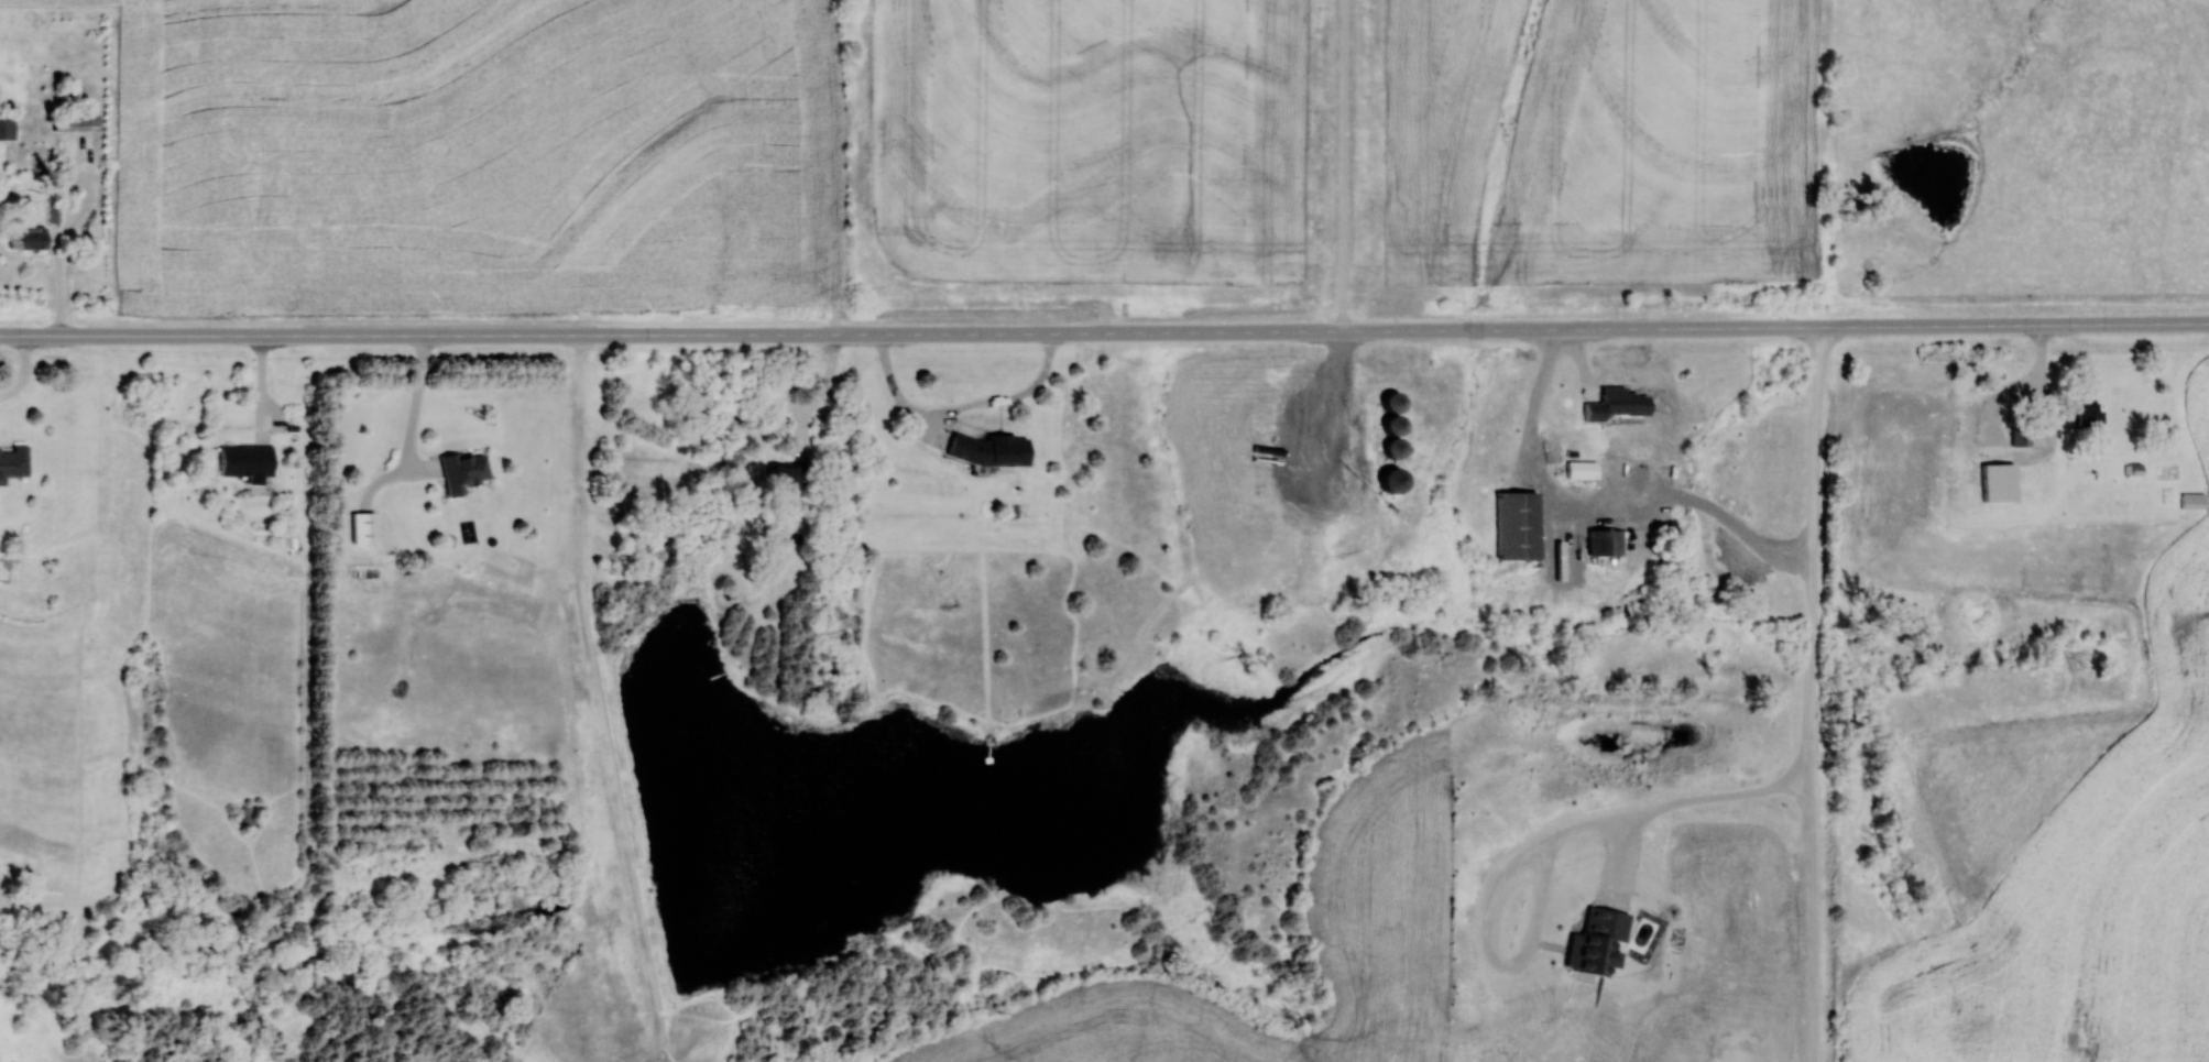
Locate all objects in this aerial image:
building: (77, 121)
building: (8, 127)
building: (30, 238)
road: (1104, 332)
building: (1398, 403)
building: (1598, 407)
building: (2079, 414)
building: (2017, 435)
building: (993, 449)
building: (248, 459)
building: (14, 462)
building: (1575, 469)
building: (467, 471)
building: (788, 474)
building: (1399, 479)
building: (1510, 524)
building: (367, 527)
building: (1601, 541)
dam: (621, 818)
building: (1593, 942)

